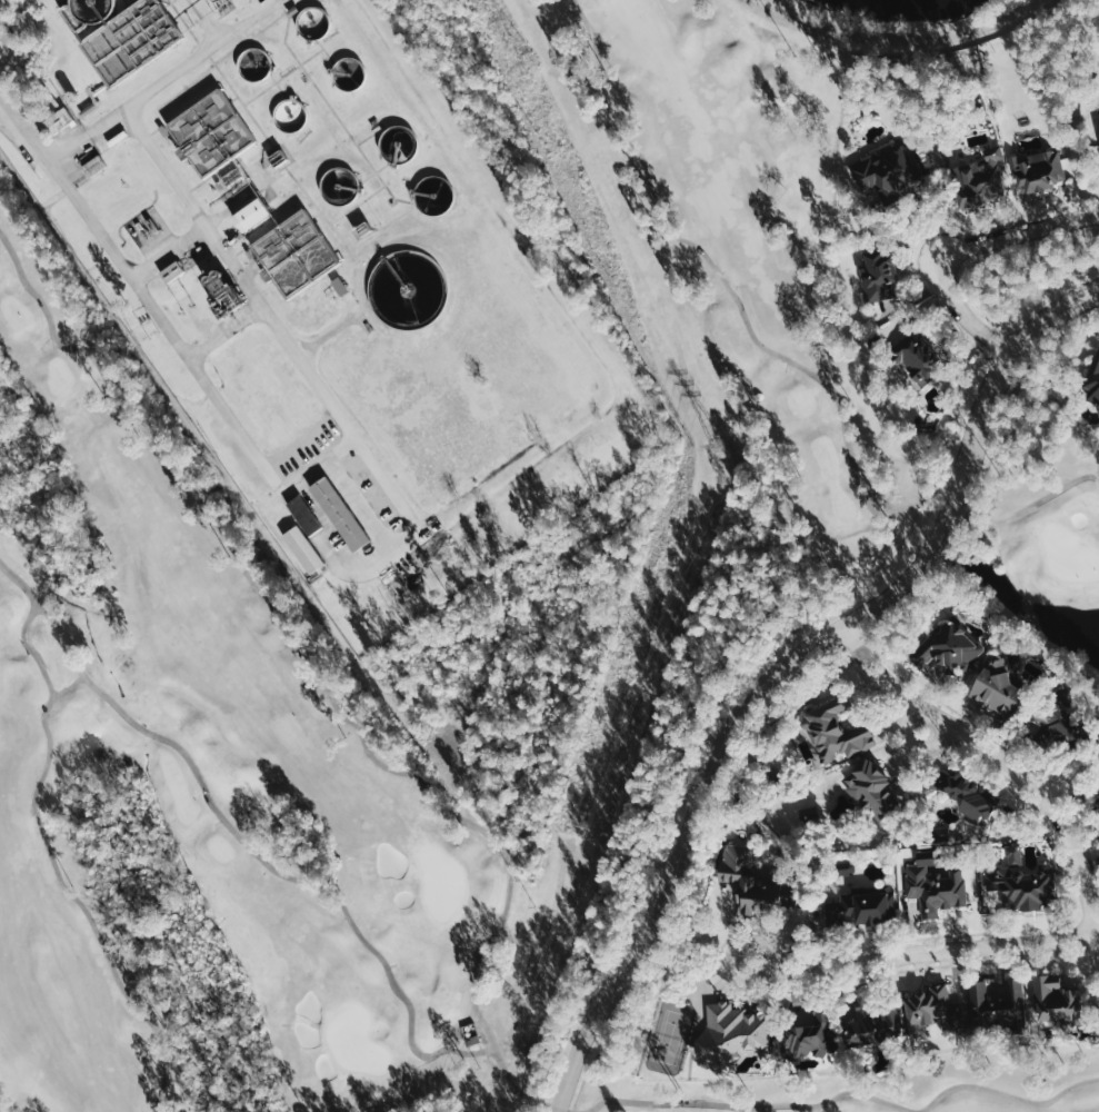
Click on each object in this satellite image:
building: (14, 44)
power tower: (531, 62)
road: (158, 88)
building: (64, 120)
building: (1098, 125)
building: (219, 138)
building: (1036, 169)
building: (888, 176)
building: (979, 187)
building: (258, 215)
road: (925, 234)
road: (958, 248)
building: (302, 252)
road: (172, 254)
building: (879, 274)
building: (232, 295)
road: (1050, 312)
road: (227, 335)
wastewater plant: (392, 342)
road: (778, 354)
building: (919, 357)
building: (1092, 377)
power tower: (720, 445)
road: (279, 481)
building: (348, 513)
building: (310, 548)
park: (1069, 554)
park: (134, 555)
road: (911, 595)
road: (47, 616)
road: (290, 643)
building: (946, 649)
building: (1001, 686)
road: (746, 701)
building: (1060, 724)
building: (831, 729)
road: (913, 743)
road: (939, 754)
road: (1005, 758)
road: (1072, 777)
building: (870, 790)
building: (965, 794)
building: (1097, 803)
power tower: (589, 824)
road: (1078, 824)
building: (1098, 827)
road: (53, 863)
building: (843, 868)
road: (282, 873)
building: (755, 882)
park: (441, 883)
building: (1021, 885)
building: (932, 888)
building: (860, 905)
road: (921, 951)
road: (1089, 954)
road: (932, 965)
building: (1056, 1000)
building: (1001, 1006)
building: (937, 1012)
building: (873, 1019)
building: (811, 1033)
park: (670, 1036)
building: (730, 1036)
road: (850, 1091)
road: (519, 1092)

